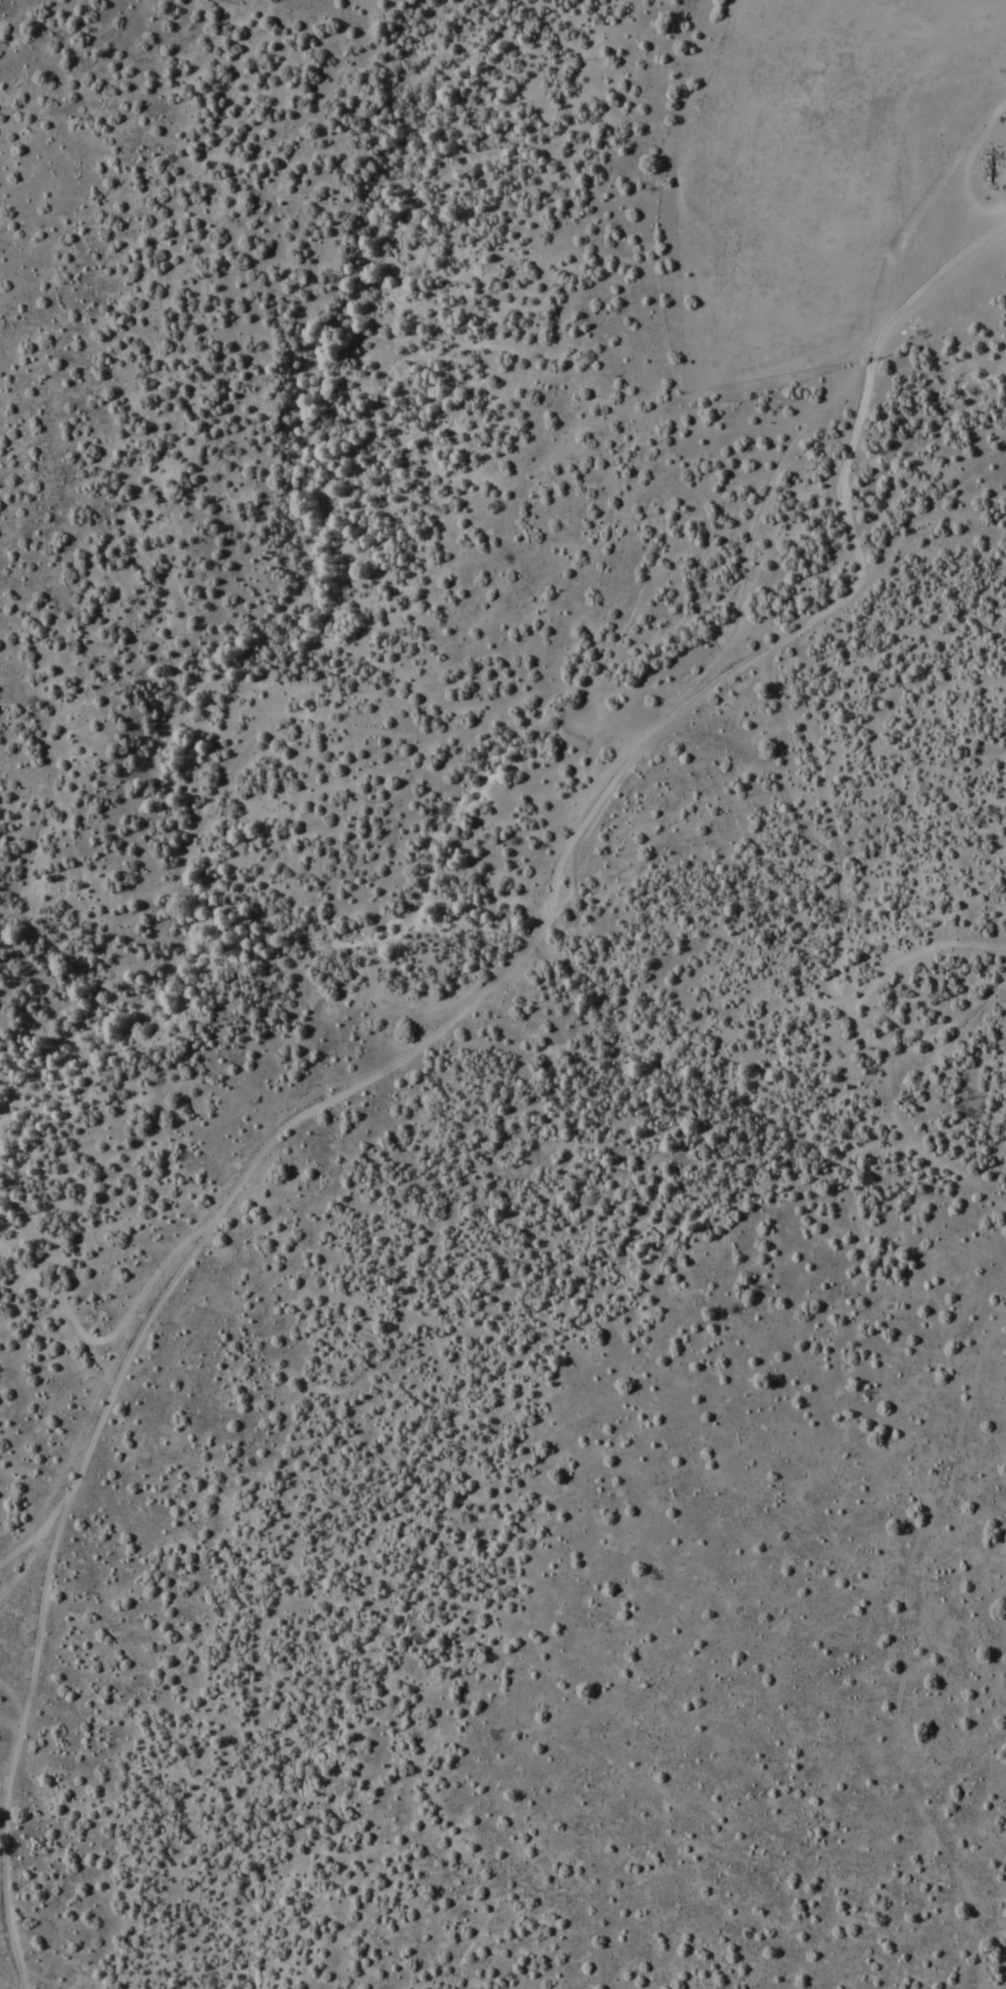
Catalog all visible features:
road: (551, 911)
road: (9, 1946)

